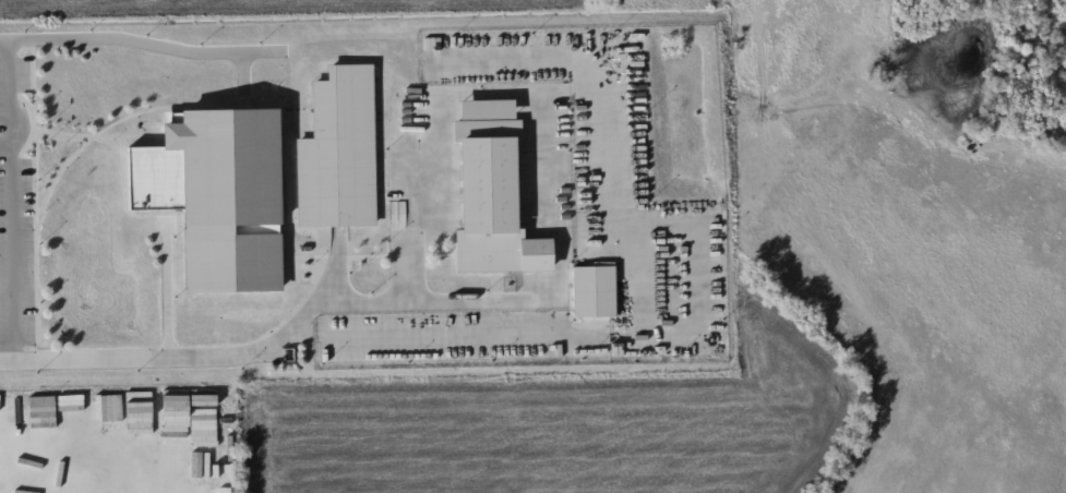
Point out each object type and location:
road: (137, 40)
road: (11, 91)
road: (555, 101)
road: (5, 145)
building: (340, 149)
building: (492, 191)
building: (217, 195)
road: (13, 251)
building: (625, 290)
building: (595, 291)
road: (214, 357)
building: (139, 398)
building: (75, 409)
crop: (566, 426)
building: (46, 429)

